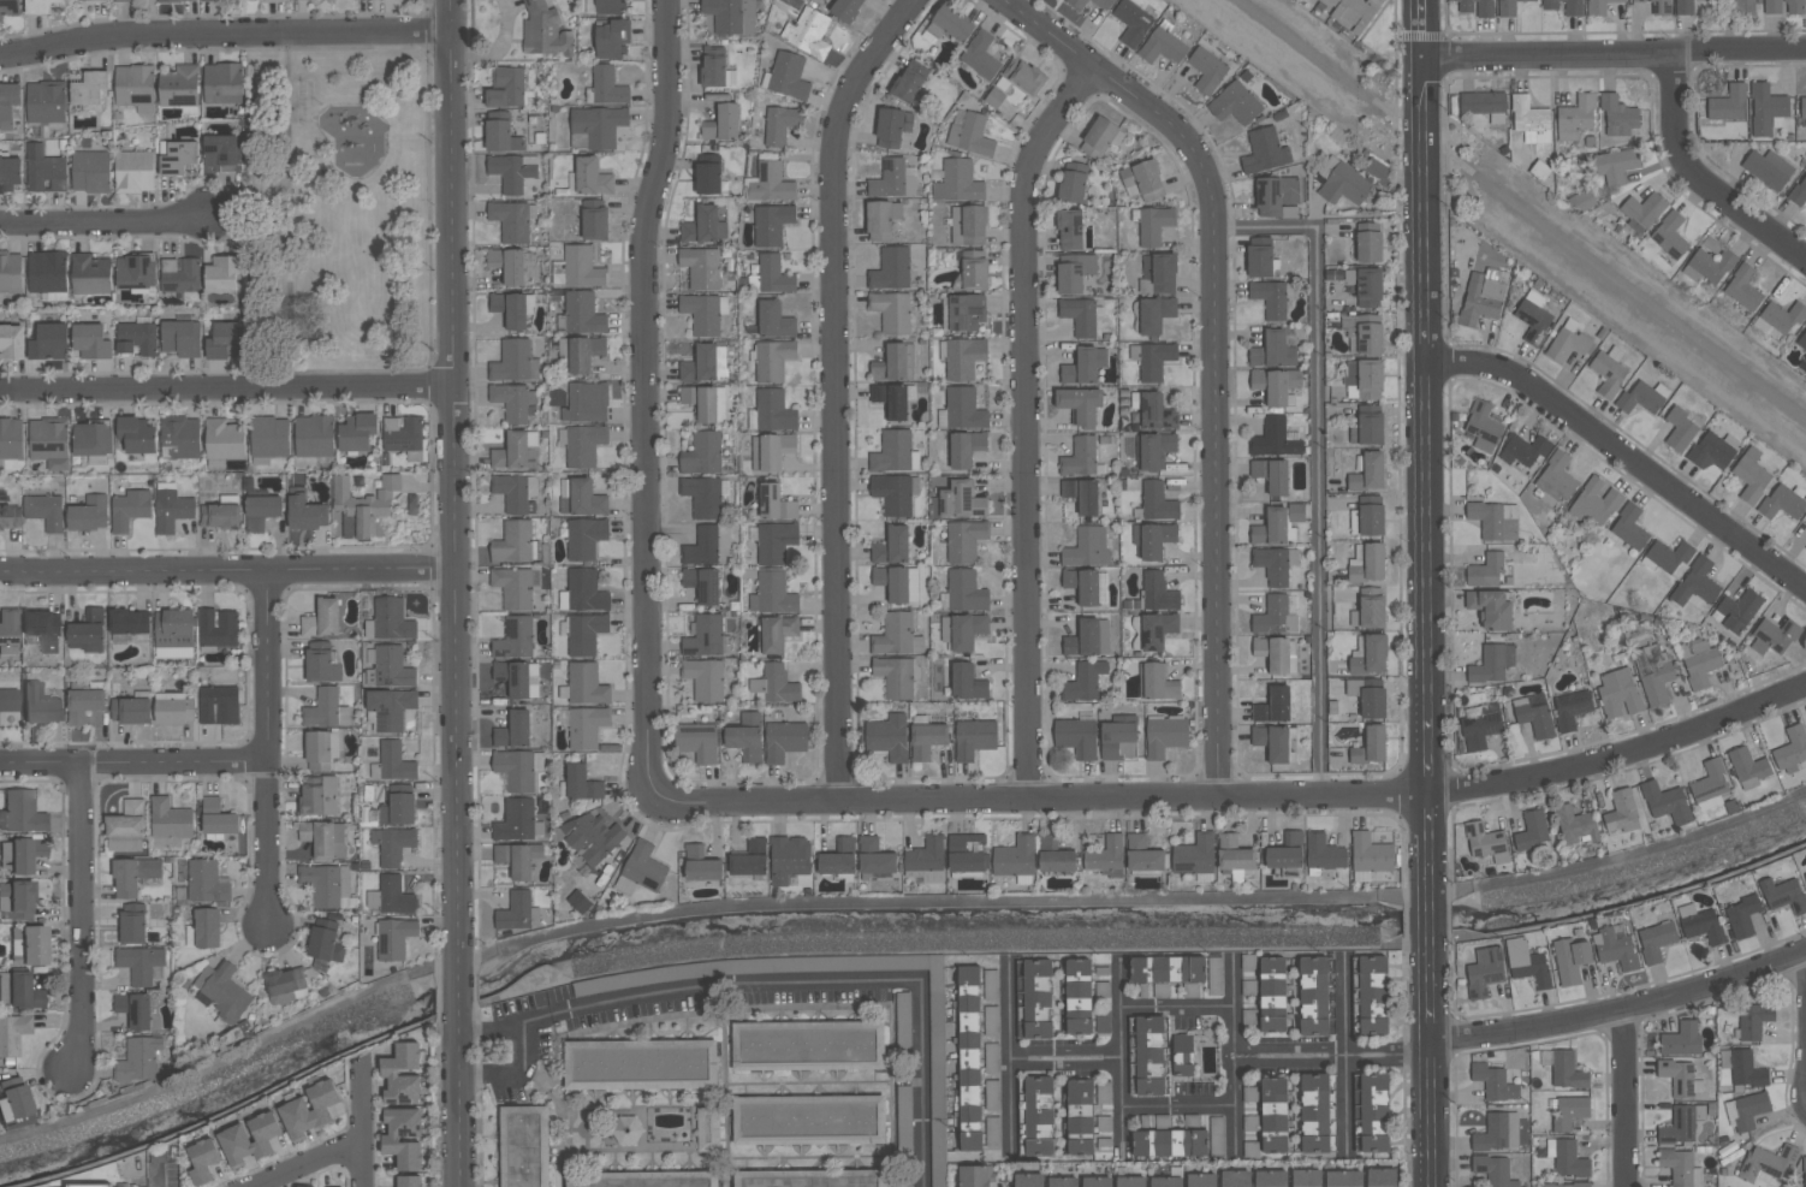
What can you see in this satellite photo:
building: (101, 0)
building: (124, 0)
building: (178, 0)
building: (212, 0)
building: (265, 0)
building: (1077, 4)
building: (1103, 4)
building: (1741, 5)
building: (40, 6)
building: (607, 6)
building: (1563, 6)
building: (1598, 6)
building: (1658, 6)
building: (1683, 6)
building: (1783, 6)
building: (1475, 7)
building: (1508, 7)
building: (8, 8)
building: (845, 8)
building: (1350, 11)
building: (731, 16)
building: (949, 22)
building: (1133, 22)
building: (543, 30)
building: (807, 31)
road: (222, 35)
building: (611, 36)
building: (1163, 44)
road: (1614, 54)
building: (981, 55)
building: (713, 65)
building: (1207, 70)
building: (789, 75)
building: (1024, 76)
building: (222, 82)
building: (908, 83)
building: (135, 85)
building: (607, 85)
building: (88, 87)
building: (180, 87)
building: (506, 87)
building: (8, 99)
building: (46, 101)
building: (1728, 102)
building: (1235, 103)
building: (1485, 103)
building: (1802, 106)
building: (1766, 107)
building: (301, 109)
building: (1618, 114)
building: (1575, 117)
building: (1529, 119)
building: (721, 123)
building: (780, 123)
building: (598, 125)
building: (892, 126)
building: (501, 135)
building: (972, 135)
building: (1099, 137)
building: (220, 149)
building: (1264, 150)
building: (177, 155)
building: (1617, 165)
building: (1768, 168)
building: (512, 170)
building: (1539, 170)
building: (90, 171)
building: (135, 171)
building: (46, 173)
building: (10, 174)
building: (592, 177)
building: (708, 177)
building: (893, 179)
building: (1143, 179)
building: (1349, 179)
road: (1699, 179)
building: (958, 182)
building: (771, 183)
building: (1073, 185)
building: (1799, 191)
building: (1278, 196)
building: (1582, 200)
building: (1642, 210)
park: (338, 214)
building: (881, 218)
building: (595, 219)
building: (511, 220)
road: (101, 221)
building: (772, 224)
building: (968, 224)
building: (1154, 224)
building: (705, 225)
building: (1070, 230)
building: (1670, 235)
building: (1368, 241)
building: (1260, 256)
building: (1710, 261)
building: (507, 263)
building: (582, 266)
building: (701, 266)
building: (891, 268)
building: (974, 269)
building: (47, 271)
building: (135, 271)
building: (1074, 271)
building: (1160, 271)
building: (11, 272)
building: (224, 272)
building: (90, 273)
building: (179, 274)
building: (773, 274)
road: (451, 285)
building: (1368, 286)
building: (1743, 287)
building: (1483, 296)
building: (1272, 297)
building: (510, 308)
building: (891, 310)
building: (966, 311)
building: (582, 313)
building: (703, 313)
building: (1156, 313)
building: (1080, 315)
building: (1782, 315)
building: (774, 320)
building: (1533, 321)
building: (1367, 334)
building: (182, 337)
building: (136, 338)
building: (226, 339)
building: (1802, 339)
building: (12, 340)
building: (49, 340)
building: (91, 340)
building: (1567, 344)
road: (1213, 349)
building: (1272, 350)
building: (584, 352)
building: (720, 355)
building: (963, 357)
building: (773, 358)
building: (1153, 358)
building: (515, 361)
building: (895, 362)
building: (700, 363)
building: (1085, 364)
building: (1802, 364)
building: (1608, 374)
building: (1366, 378)
building: (1276, 385)
road: (834, 390)
road: (226, 393)
road: (643, 397)
building: (892, 398)
building: (1640, 398)
building: (512, 400)
building: (586, 402)
building: (706, 402)
building: (1080, 403)
building: (962, 409)
building: (772, 411)
building: (1156, 411)
road: (1024, 421)
building: (1371, 423)
building: (1483, 426)
building: (1681, 427)
building: (357, 432)
building: (137, 433)
building: (403, 433)
building: (314, 435)
building: (180, 437)
building: (269, 437)
building: (1276, 438)
building: (11, 439)
building: (224, 439)
building: (49, 441)
building: (582, 444)
building: (966, 447)
building: (1153, 449)
building: (516, 450)
building: (776, 450)
building: (1523, 450)
building: (1712, 450)
building: (895, 452)
building: (702, 453)
road: (1624, 455)
building: (1080, 456)
road: (1317, 461)
building: (1368, 471)
building: (1271, 474)
building: (1751, 475)
building: (1555, 479)
building: (516, 492)
building: (893, 494)
building: (1082, 494)
building: (702, 495)
building: (581, 497)
building: (958, 500)
building: (363, 501)
building: (1157, 501)
building: (1594, 501)
building: (1783, 501)
building: (776, 503)
building: (411, 504)
building: (130, 509)
building: (44, 510)
building: (172, 510)
building: (262, 511)
building: (89, 512)
building: (305, 512)
building: (1297, 512)
building: (220, 515)
building: (1371, 515)
building: (8, 517)
road: (1426, 520)
building: (1495, 520)
building: (1629, 527)
building: (586, 538)
building: (1153, 539)
building: (964, 540)
building: (515, 542)
building: (776, 542)
building: (892, 545)
building: (702, 546)
building: (1805, 546)
building: (1087, 547)
building: (1669, 554)
building: (1367, 563)
building: (1275, 564)
building: (1486, 569)
road: (227, 574)
building: (897, 582)
building: (1697, 582)
building: (702, 583)
building: (1083, 584)
building: (513, 587)
building: (586, 590)
building: (964, 592)
building: (1158, 592)
building: (772, 594)
building: (1372, 606)
building: (1491, 609)
building: (1736, 611)
building: (1275, 616)
building: (392, 618)
building: (321, 619)
building: (126, 623)
building: (218, 627)
building: (8, 628)
building: (43, 628)
building: (1157, 629)
building: (88, 630)
building: (967, 630)
building: (586, 633)
building: (777, 633)
building: (174, 634)
building: (705, 635)
building: (897, 635)
building: (1774, 636)
building: (515, 637)
building: (1088, 637)
building: (1273, 653)
building: (1368, 654)
building: (1699, 661)
building: (321, 663)
building: (1492, 663)
building: (392, 667)
building: (895, 676)
building: (518, 678)
building: (705, 678)
building: (1657, 678)
building: (1085, 681)
building: (966, 682)
building: (1157, 682)
building: (587, 684)
building: (774, 684)
building: (1618, 693)
building: (8, 700)
building: (1373, 702)
building: (84, 705)
building: (219, 705)
building: (40, 706)
building: (1273, 706)
building: (391, 707)
building: (174, 708)
building: (326, 708)
building: (1572, 708)
building: (131, 710)
building: (1534, 717)
building: (1480, 725)
building: (586, 726)
building: (515, 730)
building: (1165, 735)
building: (745, 736)
building: (887, 736)
building: (974, 737)
building: (1076, 737)
building: (1119, 737)
building: (784, 740)
building: (927, 740)
building: (1272, 742)
building: (699, 743)
building: (1371, 746)
building: (321, 748)
building: (1792, 749)
road: (268, 752)
building: (392, 762)
road: (135, 764)
building: (1747, 766)
building: (518, 768)
building: (582, 783)
building: (1710, 785)
road: (1238, 795)
building: (320, 796)
building: (1664, 801)
building: (398, 809)
building: (1622, 812)
building: (20, 813)
building: (218, 817)
building: (170, 819)
building: (517, 820)
building: (1576, 825)
building: (126, 827)
building: (1532, 831)
building: (593, 836)
building: (325, 838)
building: (1486, 842)
building: (392, 844)
building: (1287, 851)
building: (967, 853)
building: (1234, 853)
building: (1325, 853)
building: (1106, 854)
building: (1143, 854)
building: (1371, 854)
building: (19, 855)
building: (1055, 855)
building: (1194, 855)
building: (839, 856)
building: (875, 856)
building: (789, 857)
building: (1015, 857)
building: (518, 859)
building: (750, 859)
building: (926, 861)
building: (701, 863)
building: (644, 867)
building: (132, 876)
road: (456, 878)
building: (207, 882)
building: (326, 884)
building: (394, 895)
building: (1783, 895)
building: (17, 900)
building: (580, 901)
road: (887, 902)
building: (518, 912)
building: (1742, 915)
road: (79, 916)
building: (133, 922)
building: (1700, 922)
building: (204, 928)
building: (394, 938)
building: (1656, 940)
building: (325, 944)
building: (30, 946)
building: (1615, 946)
building: (1570, 960)
building: (1527, 963)
building: (143, 965)
building: (1484, 971)
building: (1168, 972)
building: (631, 979)
road: (819, 983)
building: (992, 984)
building: (286, 986)
building: (224, 991)
building: (18, 992)
building: (1273, 993)
building: (1373, 995)
building: (1079, 996)
building: (1315, 997)
building: (1038, 998)
road: (1177, 1005)
building: (135, 1009)
road: (1621, 1013)
building: (1753, 1020)
building: (903, 1022)
road: (489, 1029)
building: (935, 1031)
building: (12, 1034)
building: (1682, 1039)
building: (803, 1044)
building: (969, 1047)
road: (1119, 1051)
building: (1149, 1054)
building: (1182, 1055)
road: (1235, 1055)
road: (1010, 1056)
road: (1347, 1056)
road: (1064, 1057)
building: (139, 1058)
building: (992, 1058)
road: (1331, 1058)
building: (640, 1063)
building: (1742, 1068)
building: (1564, 1069)
road: (512, 1070)
building: (390, 1072)
building: (1680, 1078)
building: (1495, 1082)
building: (1106, 1092)
building: (1249, 1093)
building: (993, 1094)
road: (1623, 1099)
building: (12, 1100)
road: (1177, 1105)
building: (310, 1108)
building: (1746, 1110)
building: (1569, 1111)
building: (1315, 1112)
building: (1374, 1112)
building: (1038, 1114)
road: (1430, 1114)
building: (1275, 1115)
building: (1080, 1117)
building: (808, 1118)
building: (903, 1118)
building: (1163, 1122)
building: (1192, 1122)
building: (1681, 1123)
building: (1104, 1124)
road: (362, 1128)
building: (707, 1128)
building: (626, 1129)
building: (993, 1129)
building: (1498, 1132)
building: (1217, 1135)
building: (249, 1138)
building: (390, 1138)
building: (970, 1141)
building: (1170, 1143)
building: (939, 1145)
building: (523, 1146)
building: (1567, 1158)
building: (202, 1159)
building: (1768, 1164)
road: (314, 1167)
building: (1681, 1168)
building: (1495, 1170)
building: (1805, 1171)
building: (974, 1176)
road: (158, 1177)
building: (809, 1177)
building: (1236, 1177)
building: (1306, 1177)
building: (1382, 1177)
building: (648, 1179)
building: (1271, 1179)
building: (1343, 1179)
building: (1028, 1180)
building: (1201, 1180)
building: (409, 1181)
building: (1063, 1181)
building: (1097, 1181)
building: (1130, 1181)
building: (1166, 1181)
building: (904, 1183)
building: (88, 1185)
building: (1567, 1185)
building: (309, 1186)

